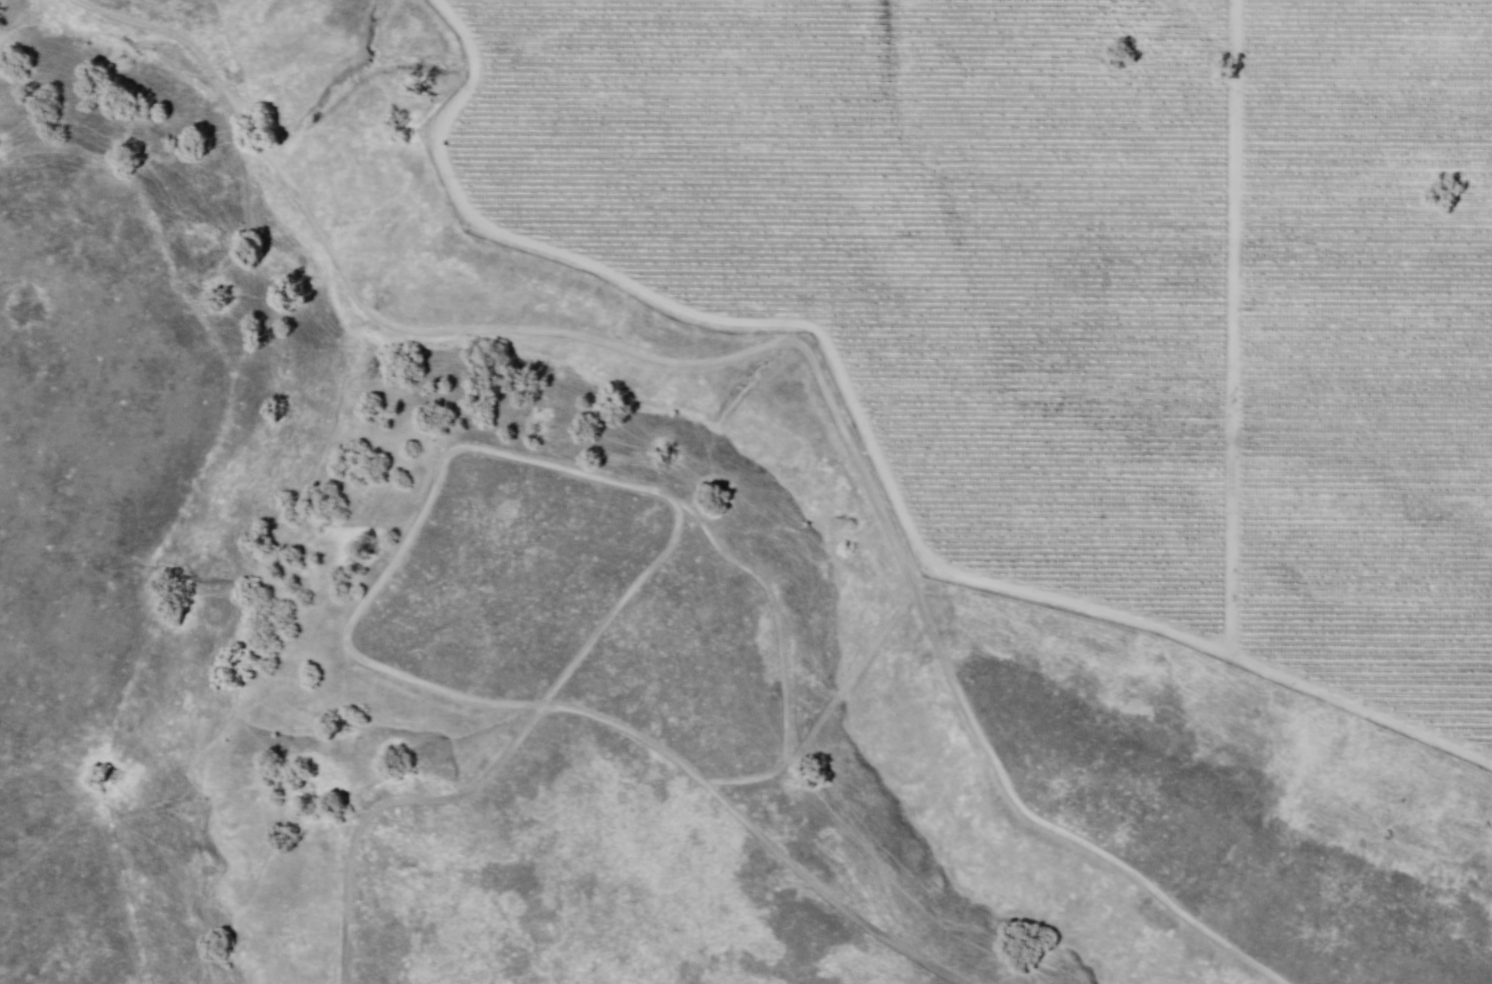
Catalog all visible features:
road: (1232, 327)
road: (766, 347)
road: (870, 438)
road: (549, 464)
road: (850, 685)
road: (506, 758)
road: (753, 833)

